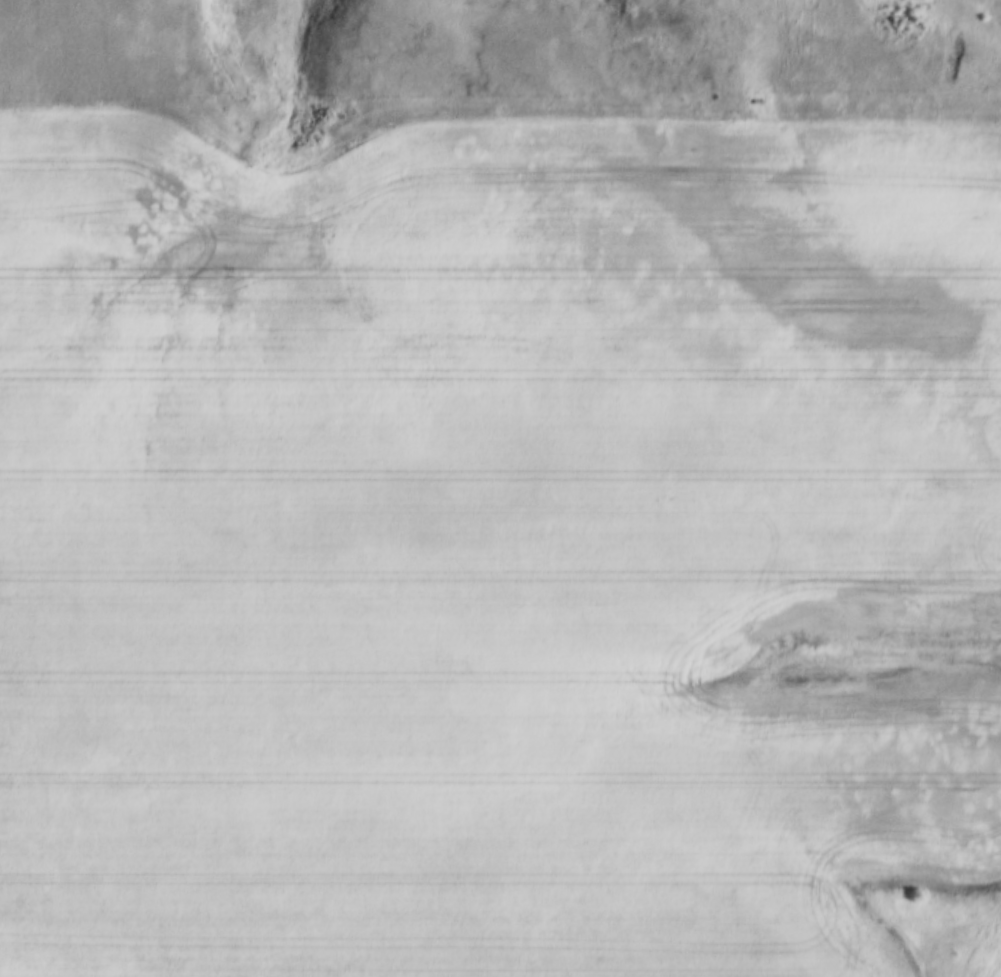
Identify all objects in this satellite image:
road: (441, 291)

